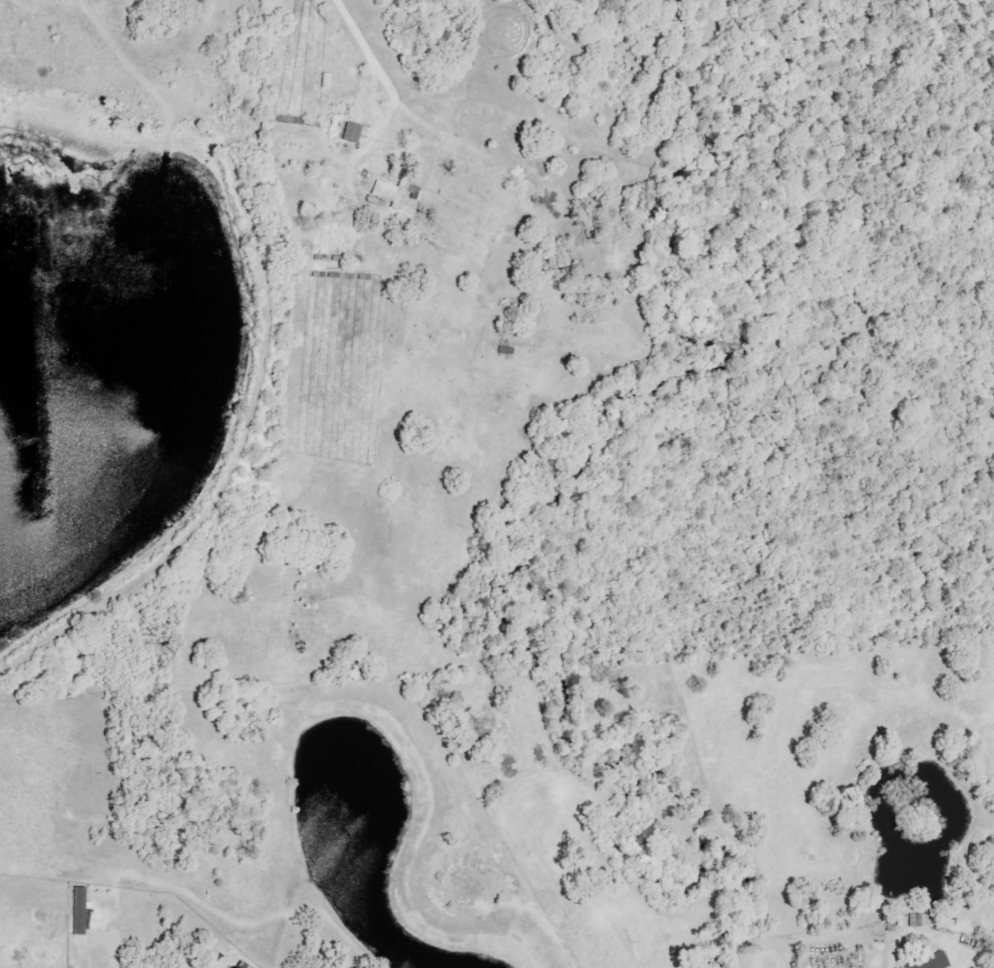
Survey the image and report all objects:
road: (360, 42)
building: (349, 133)
dam: (231, 469)
building: (78, 911)
building: (919, 921)
building: (929, 962)

